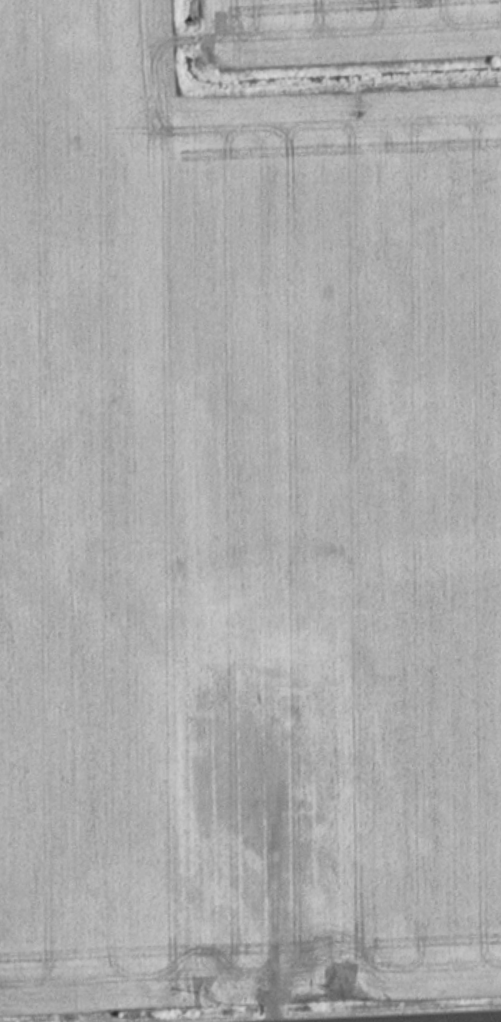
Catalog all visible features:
building: (276, 752)
building: (231, 772)
building: (297, 863)
road: (459, 1020)

